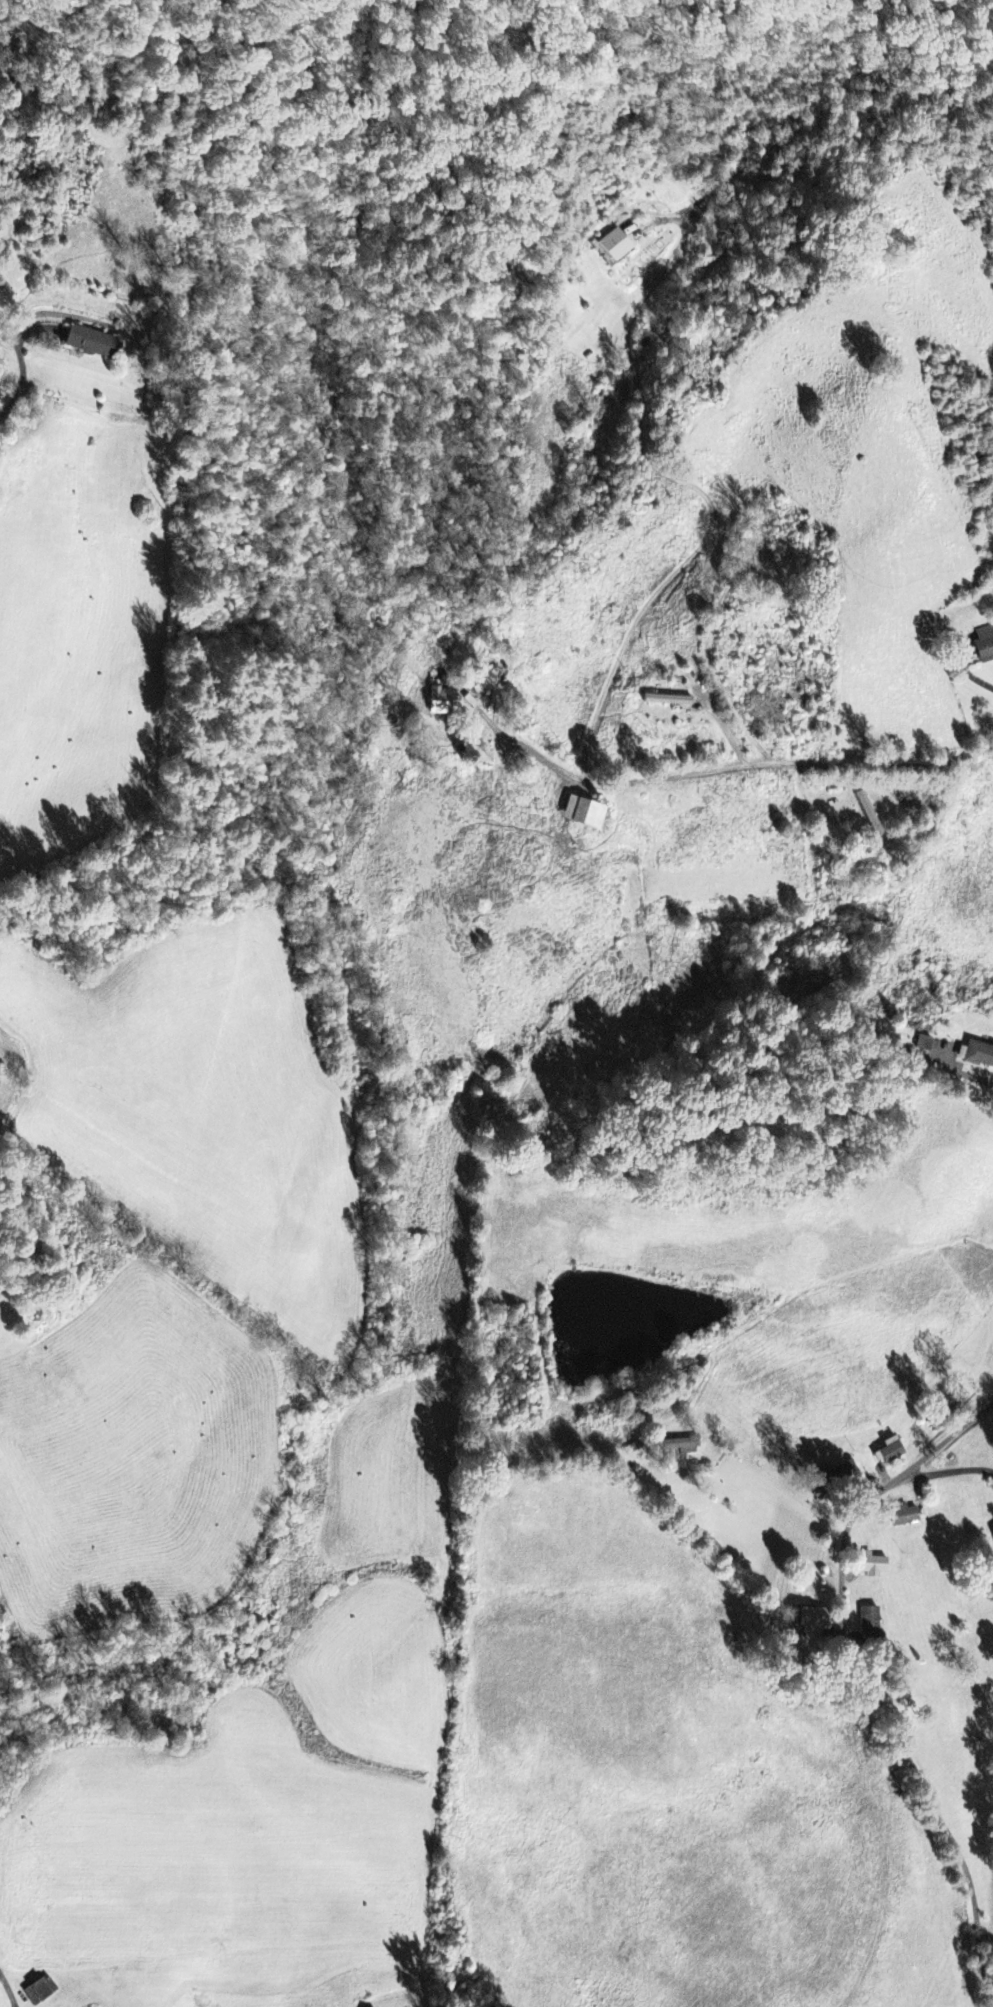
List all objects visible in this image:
building: (612, 247)
building: (92, 345)
road: (41, 364)
building: (983, 645)
road: (618, 666)
building: (666, 701)
building: (438, 702)
building: (581, 814)
road: (190, 863)
building: (977, 1056)
building: (949, 1409)
road: (990, 1421)
building: (679, 1447)
building: (889, 1452)
road: (946, 1472)
building: (834, 1476)
building: (903, 1516)
building: (872, 1566)
building: (812, 1619)
building: (868, 1622)
road: (862, 1672)

